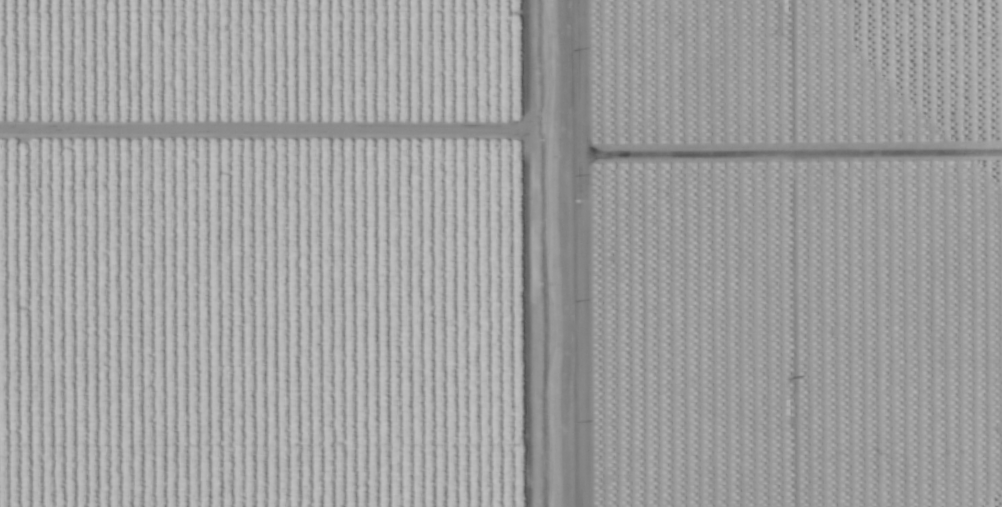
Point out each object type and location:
road: (563, 253)

